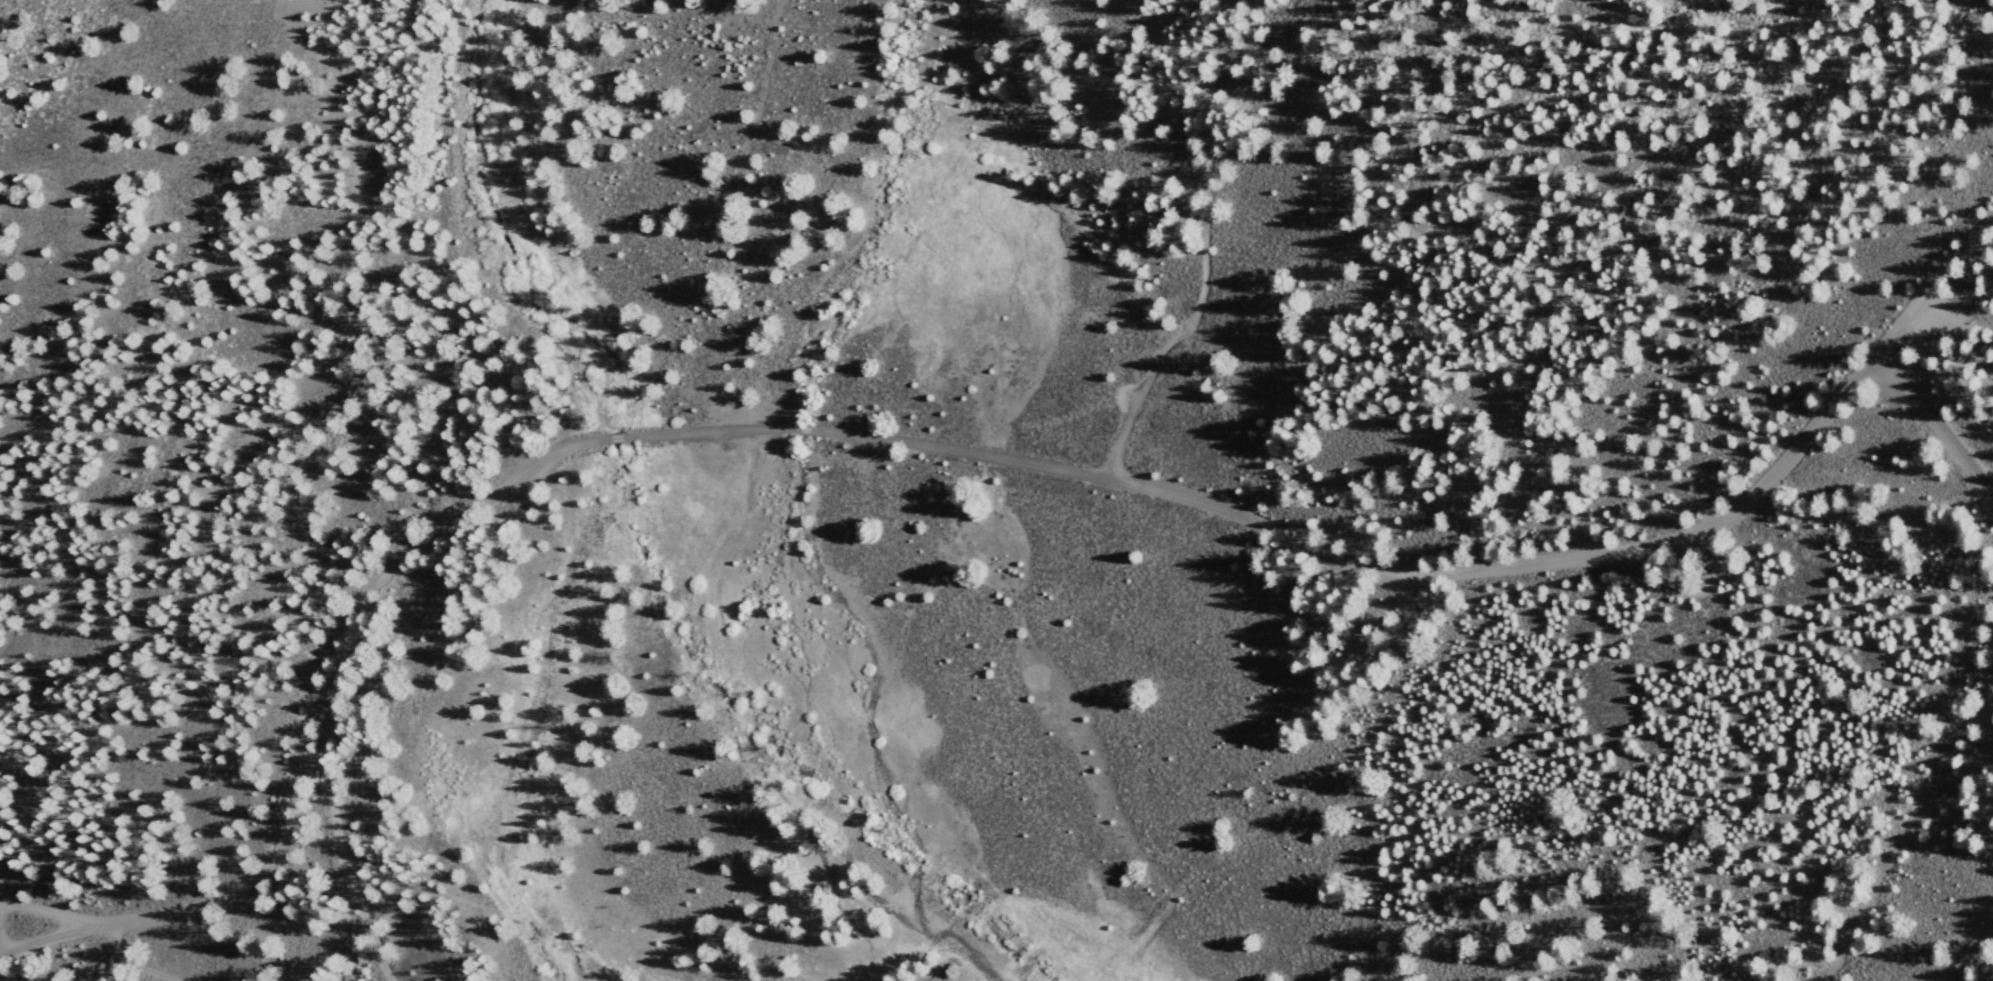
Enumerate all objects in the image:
road: (1207, 238)
road: (1933, 282)
road: (1935, 427)
road: (709, 430)
road: (803, 430)
road: (615, 438)
road: (1373, 575)
road: (309, 721)
road: (331, 796)
road: (40, 939)
road: (130, 961)

